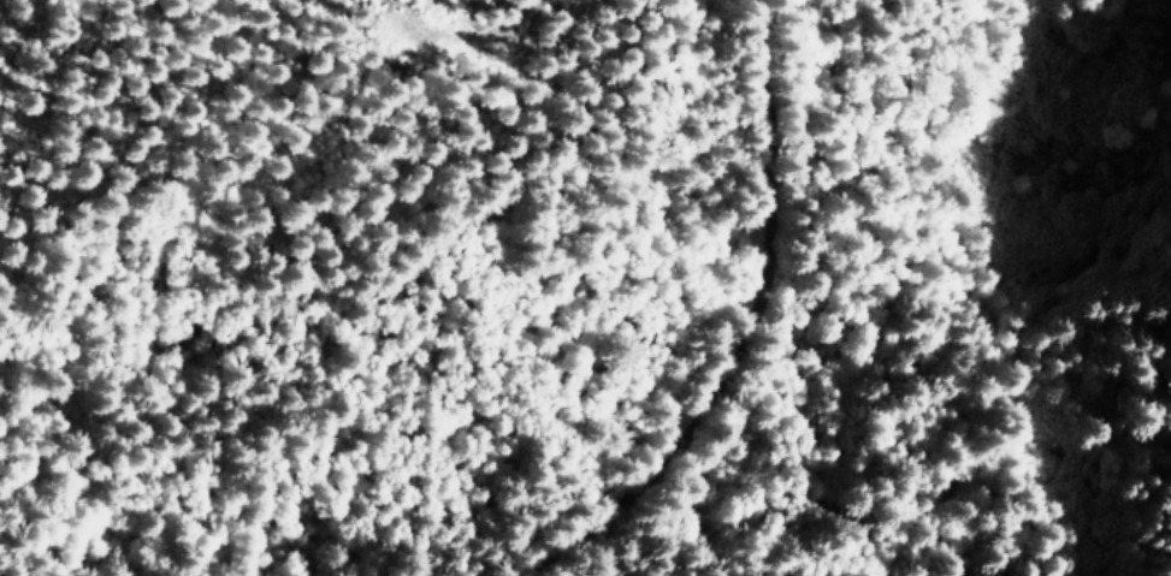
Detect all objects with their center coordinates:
road: (841, 308)

